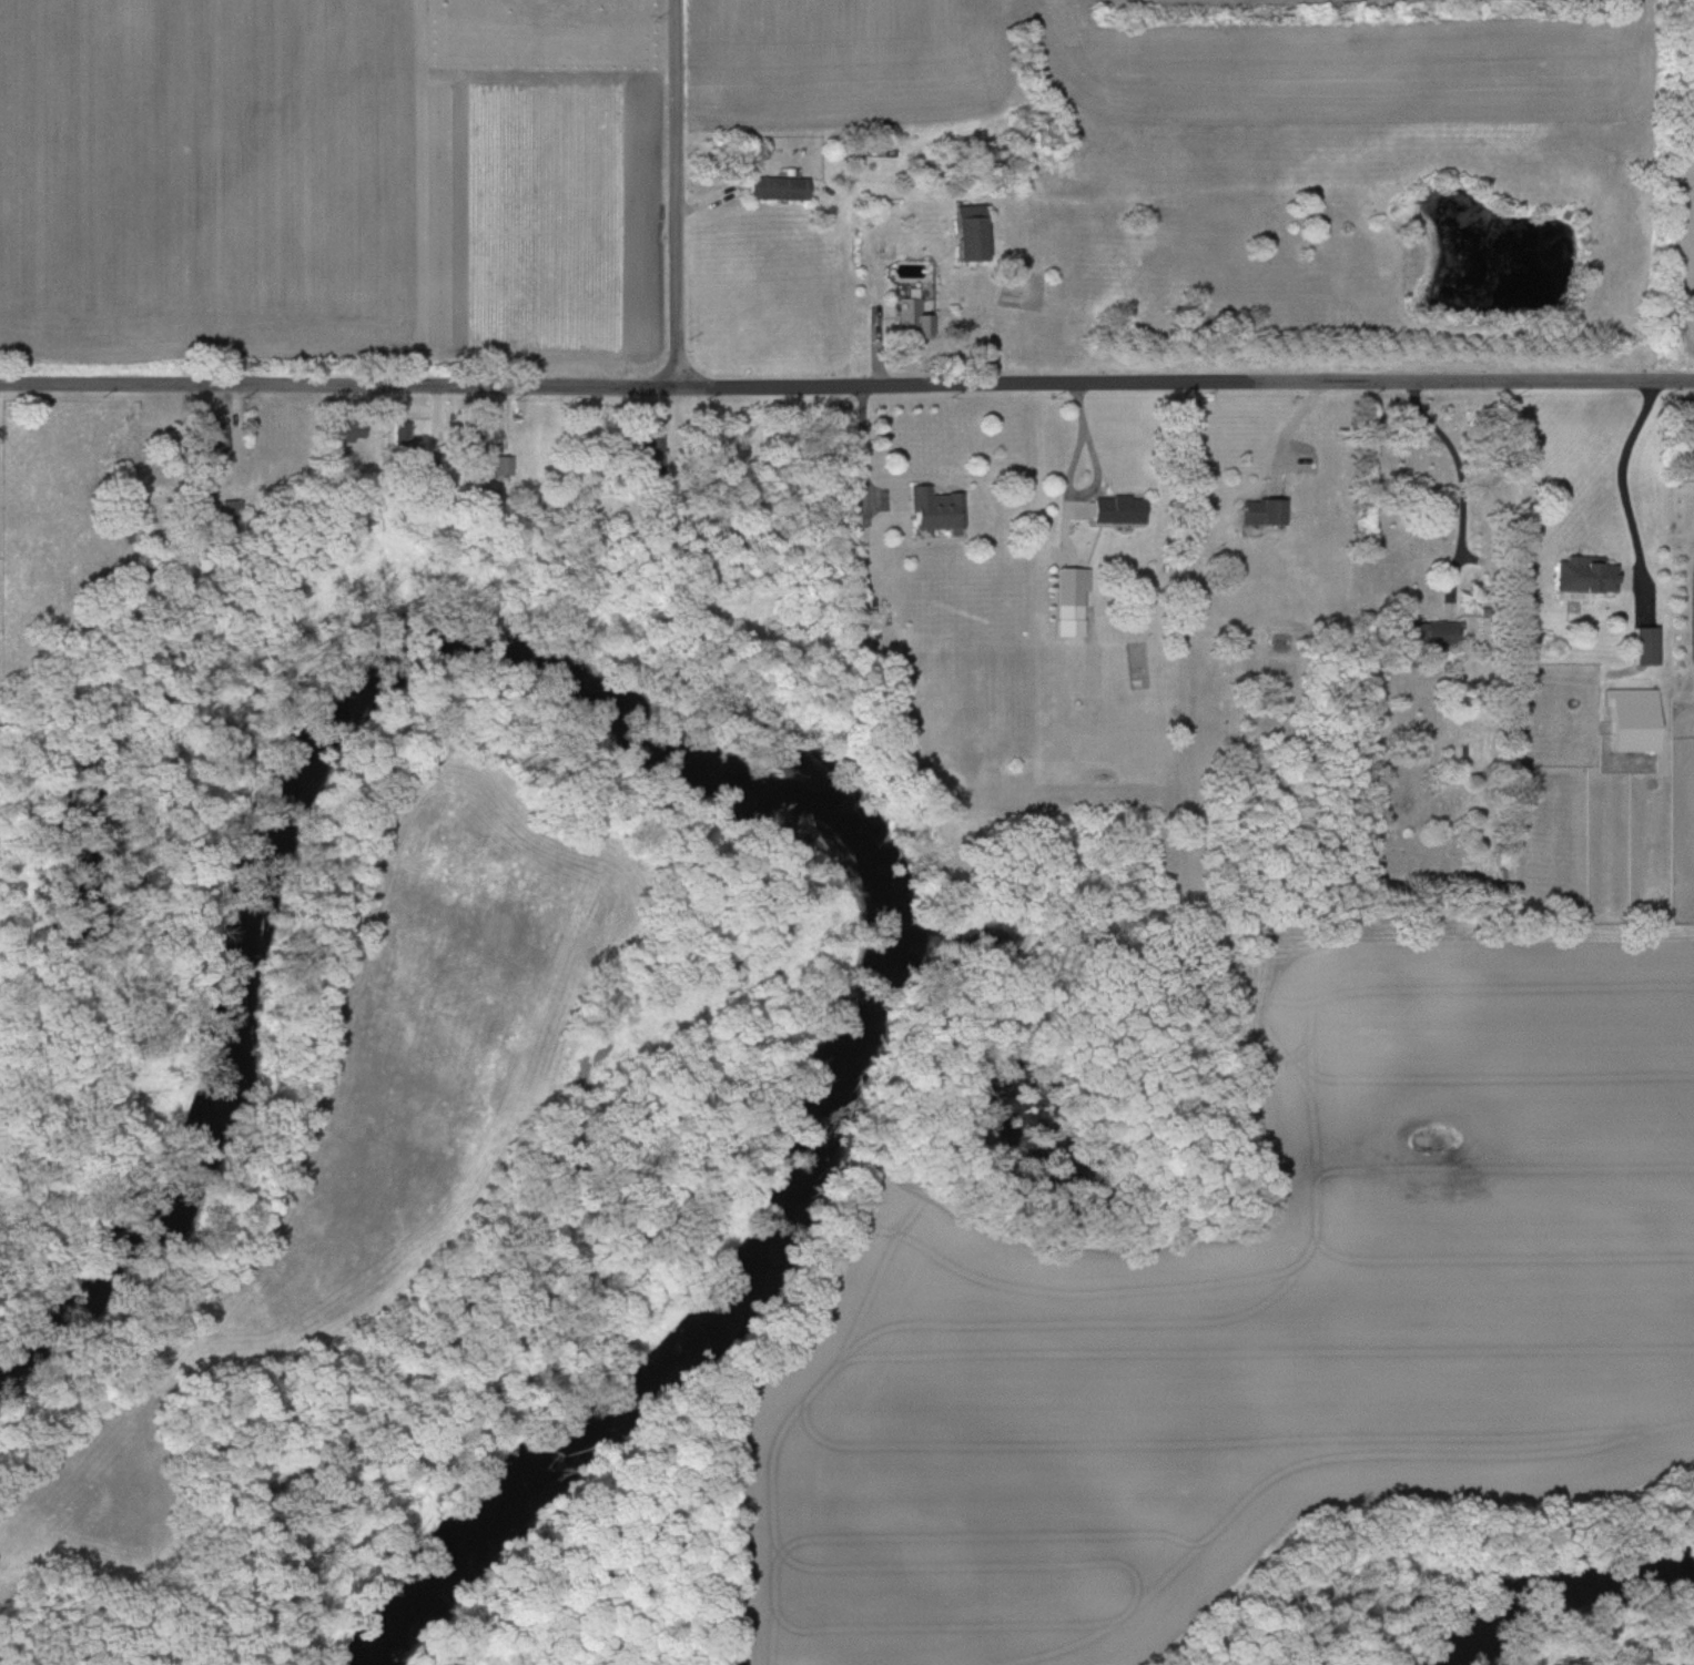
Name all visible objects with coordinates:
building: (777, 187)
road: (678, 194)
building: (968, 232)
building: (911, 318)
road: (846, 386)
road: (1288, 428)
building: (405, 432)
building: (469, 436)
building: (214, 444)
road: (863, 445)
building: (1688, 458)
building: (503, 465)
road: (1462, 478)
road: (1096, 480)
road: (1617, 481)
building: (934, 509)
building: (1117, 509)
building: (1261, 510)
building: (1584, 573)
building: (1071, 600)
building: (1432, 632)
building: (1645, 644)
building: (1632, 720)
river: (701, 782)
river: (1584, 1633)

